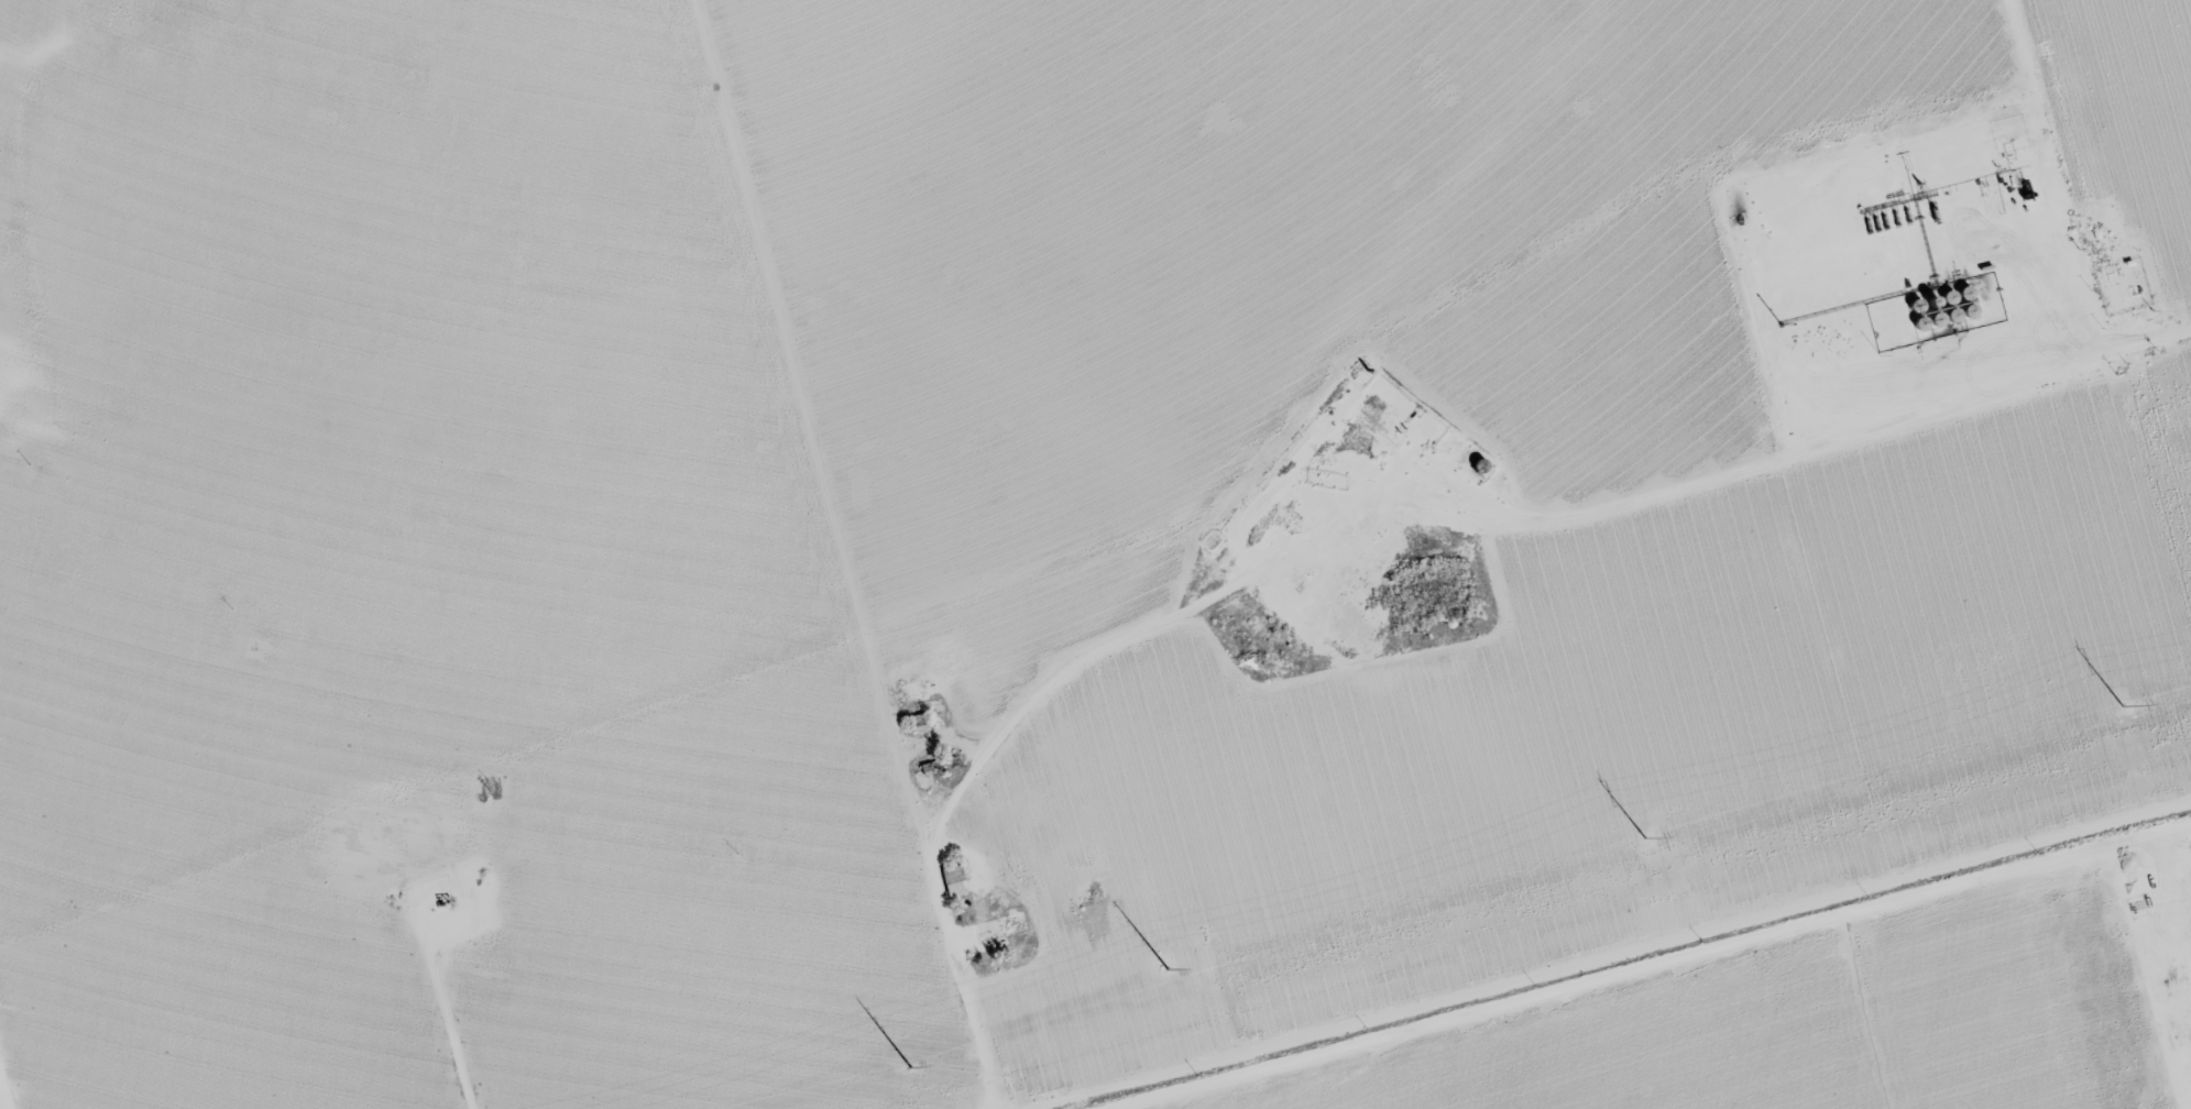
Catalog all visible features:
road: (91, 89)
road: (1983, 457)
road: (837, 554)
power tower: (2123, 704)
power tower: (1645, 835)
building: (951, 879)
power tower: (1168, 966)
power tower: (911, 1066)

